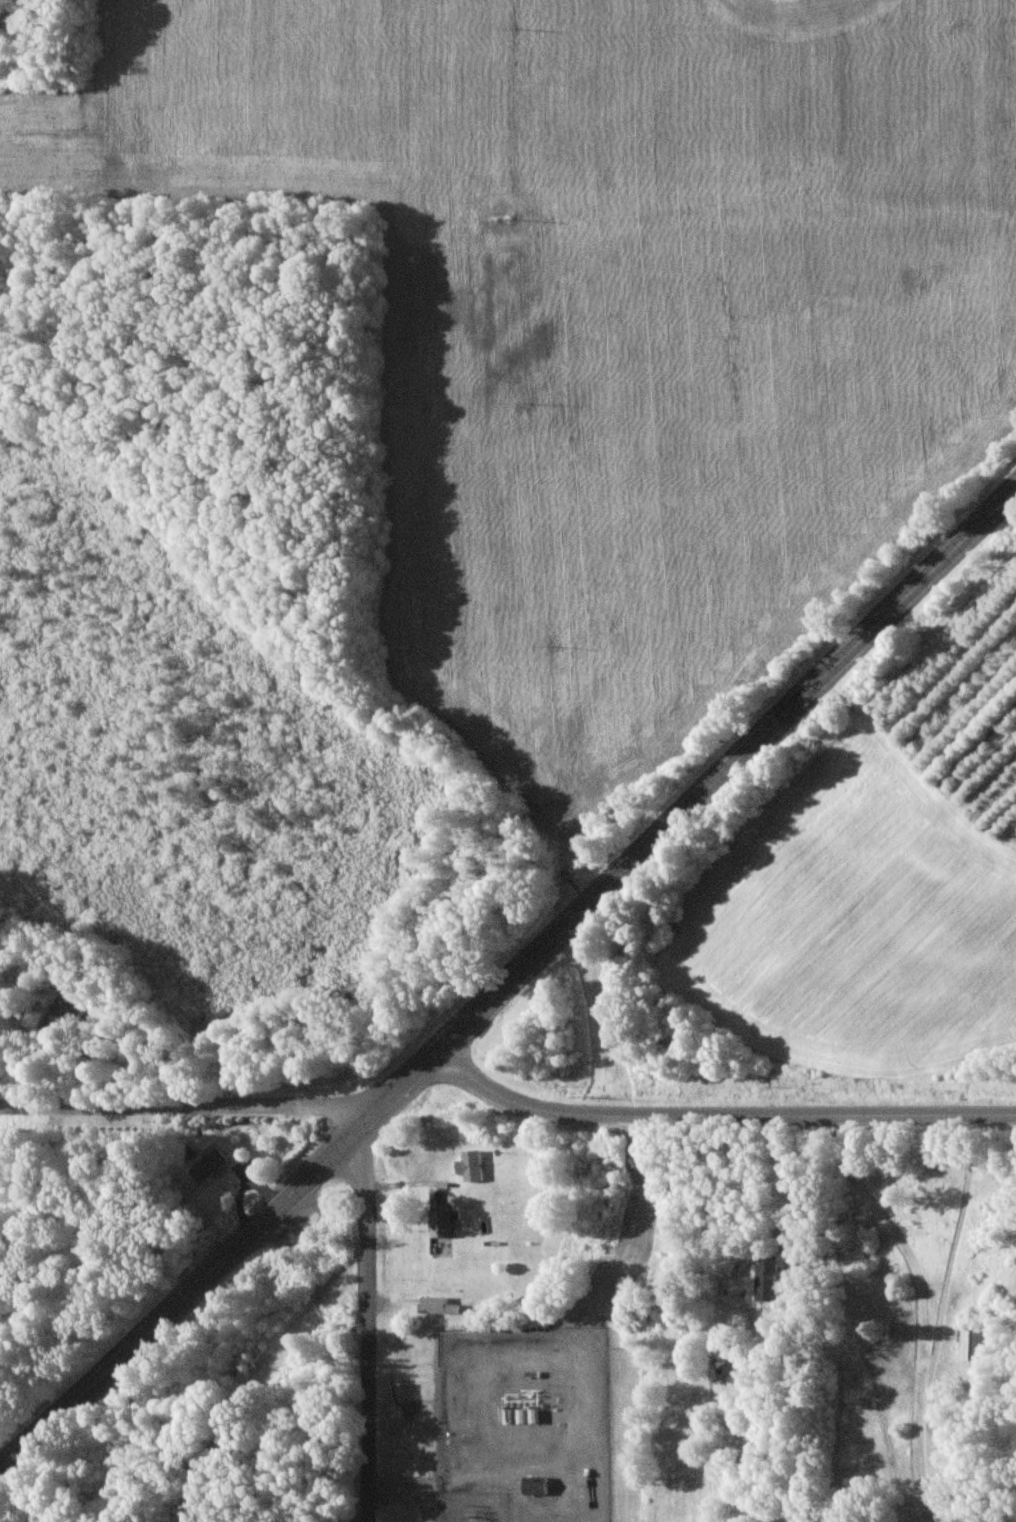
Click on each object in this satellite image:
road: (512, 979)
building: (64, 1014)
road: (183, 1105)
road: (718, 1114)
building: (208, 1165)
building: (470, 1165)
road: (785, 1181)
building: (438, 1224)
building: (765, 1279)
building: (435, 1306)
road: (842, 1317)
road: (366, 1320)
building: (969, 1344)
building: (534, 1486)

